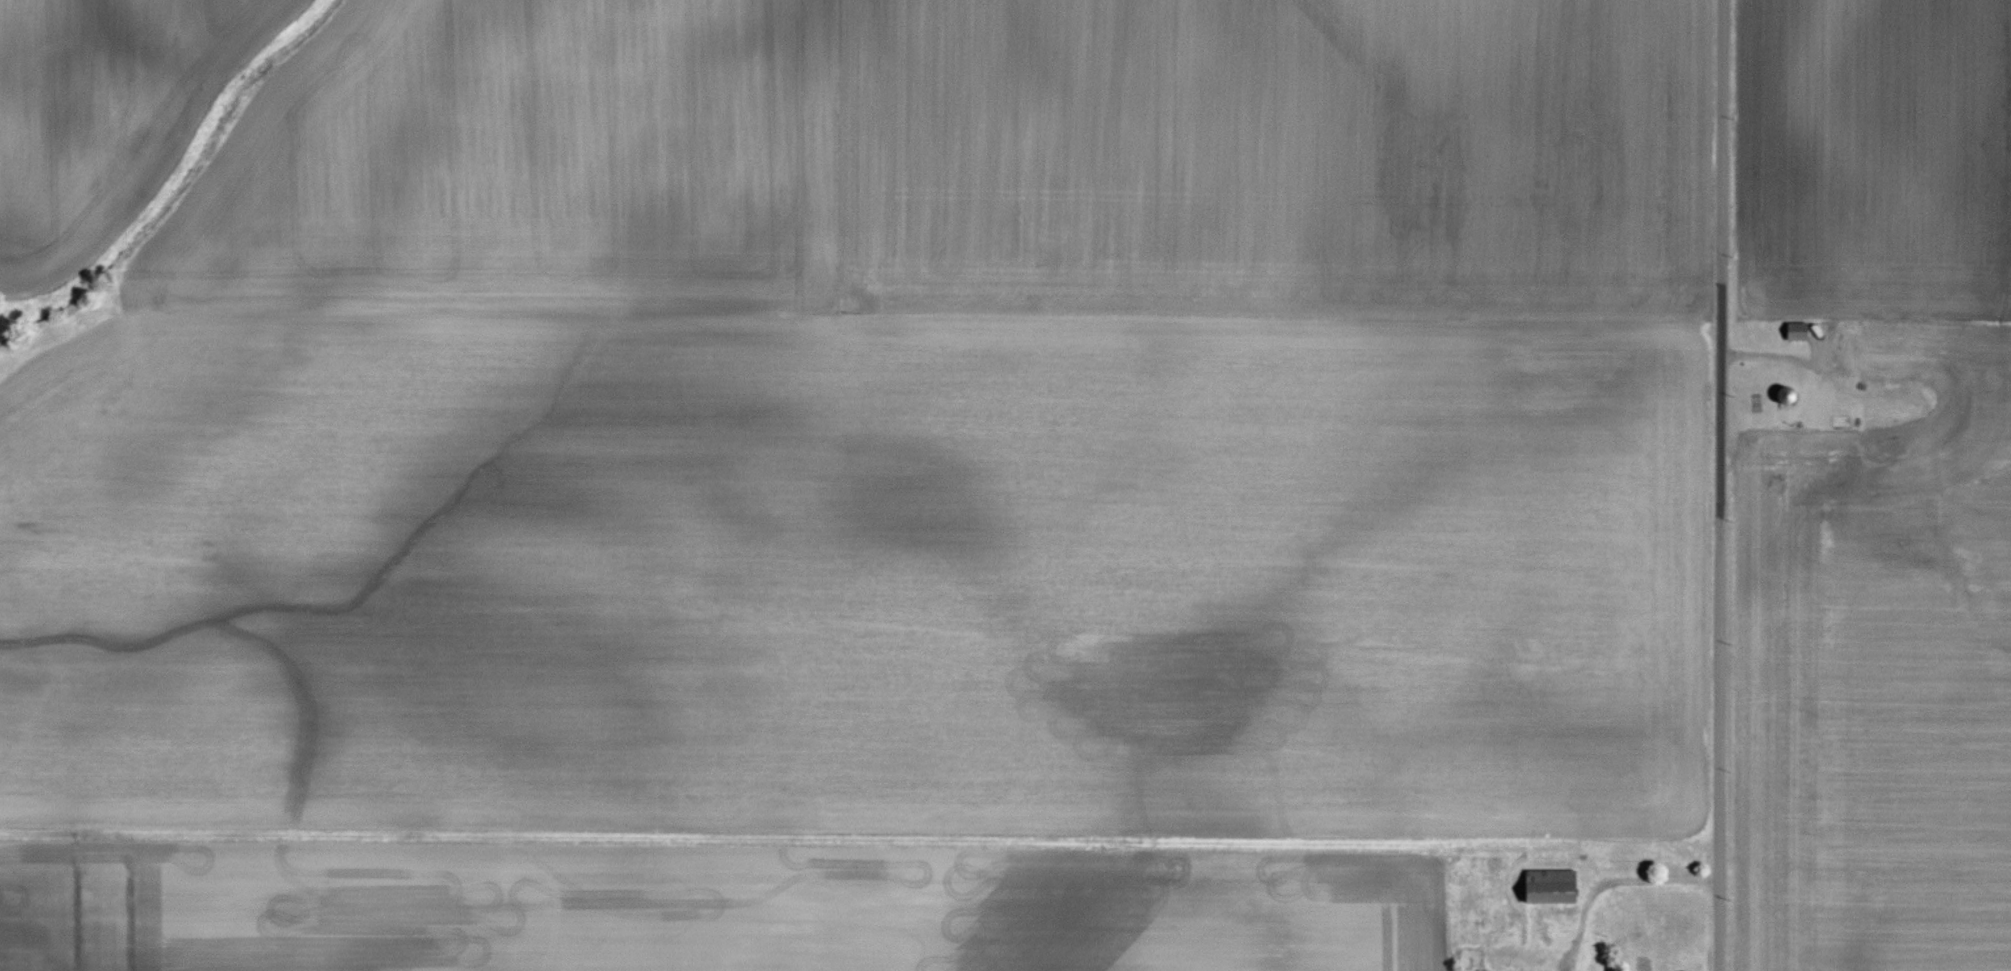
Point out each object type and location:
road: (1720, 485)
road: (1614, 879)

